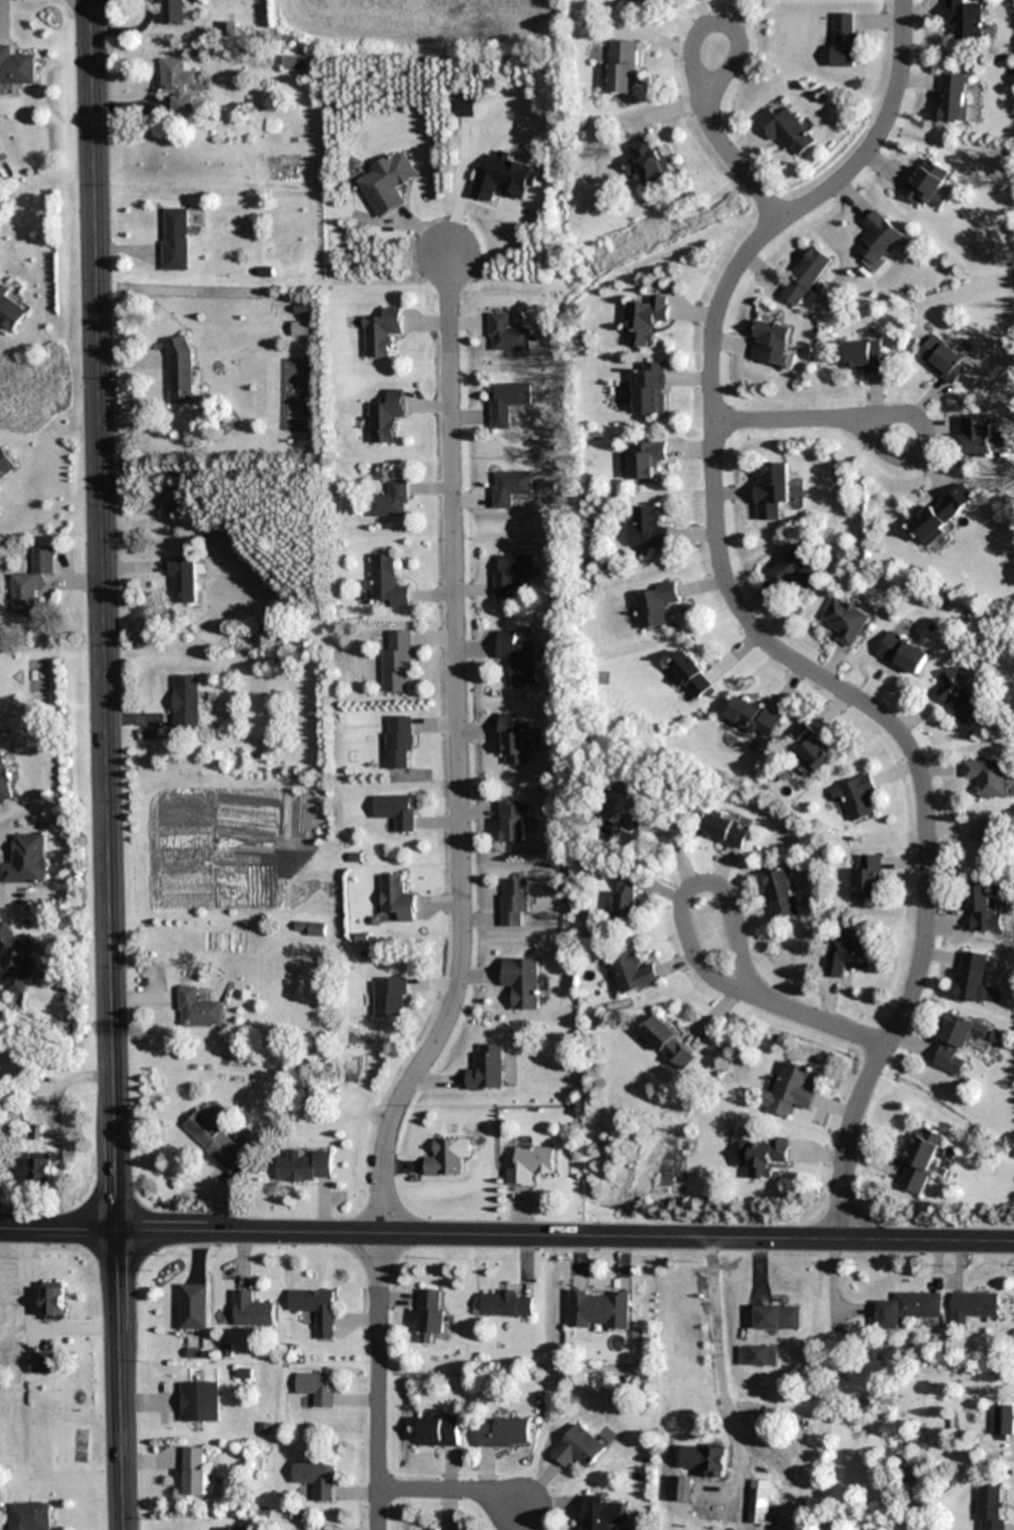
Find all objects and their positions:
building: (631, 0)
building: (660, 0)
building: (171, 11)
building: (964, 19)
crop: (414, 24)
building: (844, 39)
road: (692, 52)
building: (292, 62)
building: (16, 67)
building: (621, 67)
building: (178, 85)
building: (954, 98)
building: (788, 132)
building: (647, 162)
road: (738, 165)
building: (927, 184)
building: (176, 239)
building: (879, 241)
building: (805, 276)
building: (9, 310)
building: (646, 321)
building: (381, 332)
building: (507, 335)
building: (771, 343)
building: (867, 357)
building: (942, 359)
building: (182, 373)
building: (649, 389)
building: (506, 402)
building: (384, 416)
road: (782, 420)
road: (922, 430)
building: (976, 435)
building: (647, 459)
building: (5, 464)
building: (509, 487)
building: (772, 491)
building: (389, 500)
building: (942, 513)
building: (647, 528)
building: (798, 568)
building: (510, 573)
building: (182, 580)
building: (33, 581)
building: (385, 581)
building: (654, 606)
building: (845, 621)
road: (752, 628)
building: (902, 653)
building: (516, 658)
building: (396, 663)
building: (691, 674)
building: (959, 697)
building: (186, 701)
building: (752, 717)
building: (513, 740)
building: (398, 742)
building: (810, 750)
road: (106, 765)
building: (986, 778)
building: (5, 779)
building: (854, 797)
building: (626, 807)
building: (395, 811)
building: (513, 823)
building: (724, 830)
building: (981, 846)
building: (27, 860)
building: (867, 878)
building: (780, 894)
building: (626, 895)
road: (459, 897)
building: (396, 898)
building: (514, 902)
building: (982, 909)
building: (309, 928)
road: (688, 941)
building: (848, 952)
building: (15, 961)
building: (633, 973)
building: (972, 976)
building: (524, 982)
building: (390, 997)
building: (198, 1009)
road: (824, 1023)
building: (958, 1042)
building: (669, 1043)
building: (486, 1068)
building: (790, 1090)
building: (16, 1115)
building: (215, 1141)
building: (764, 1156)
building: (445, 1158)
building: (920, 1159)
building: (531, 1165)
building: (304, 1166)
building: (41, 1168)
road: (506, 1235)
building: (53, 1300)
building: (506, 1303)
building: (973, 1305)
building: (193, 1306)
building: (908, 1308)
building: (251, 1310)
building: (316, 1310)
building: (598, 1310)
building: (431, 1316)
building: (778, 1317)
building: (757, 1355)
road: (715, 1356)
building: (43, 1363)
building: (316, 1387)
building: (200, 1401)
building: (1003, 1422)
building: (439, 1431)
building: (503, 1433)
building: (578, 1448)
building: (703, 1460)
building: (195, 1471)
building: (315, 1478)
road: (451, 1490)
building: (680, 1490)
building: (759, 1505)
building: (990, 1507)
building: (599, 1513)
building: (30, 1516)

